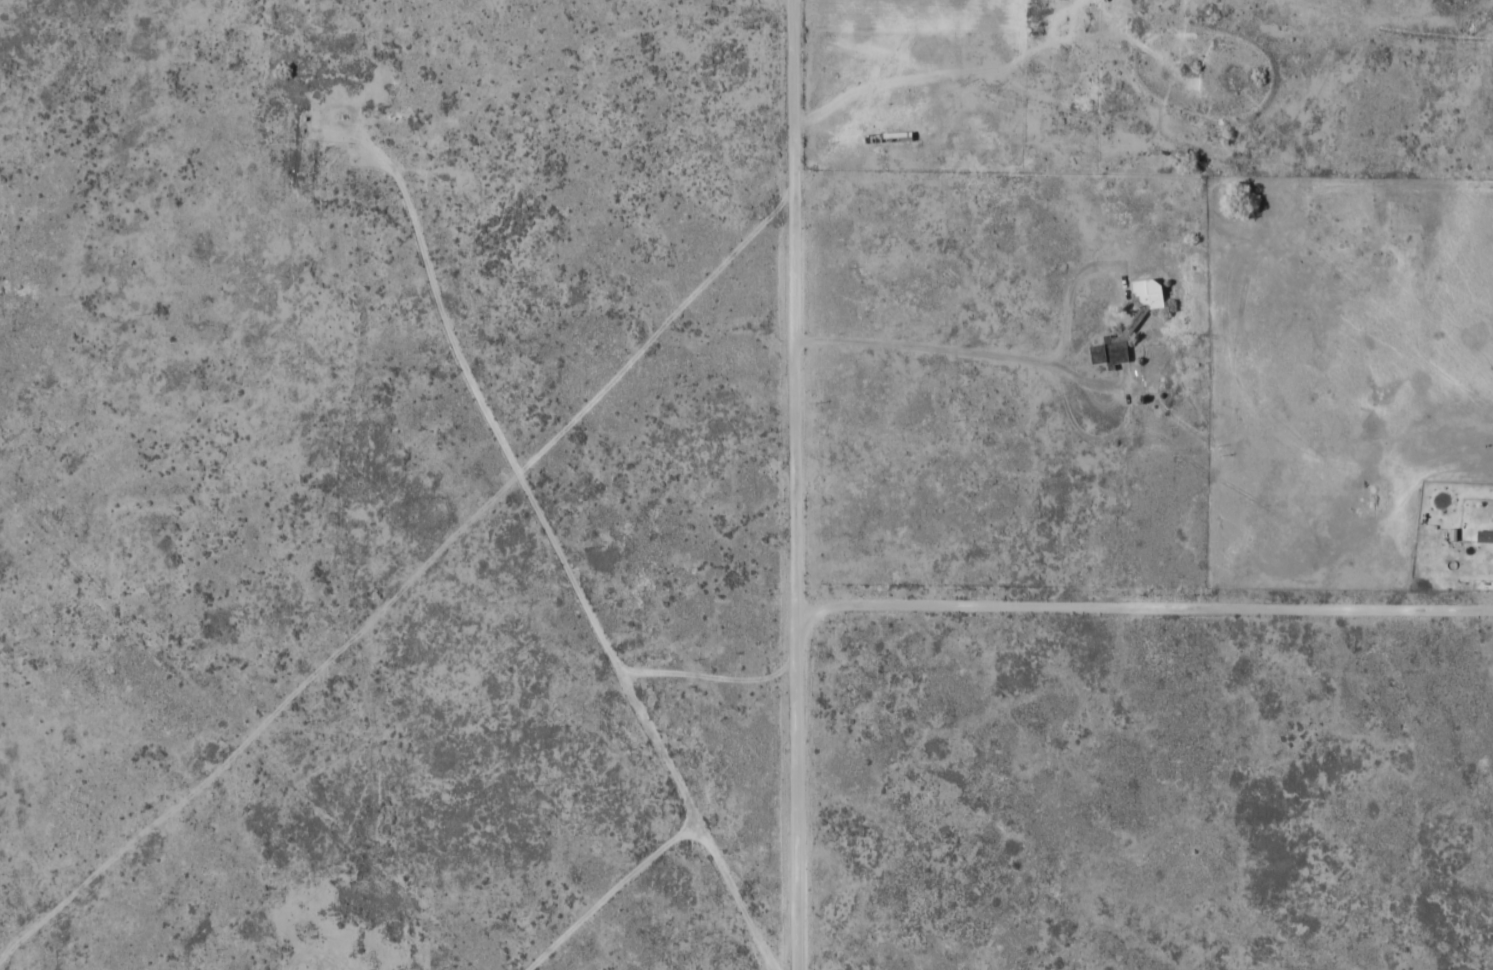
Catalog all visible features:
road: (599, 59)
road: (204, 213)
road: (10, 280)
building: (1126, 325)
road: (797, 484)
building: (1484, 536)

